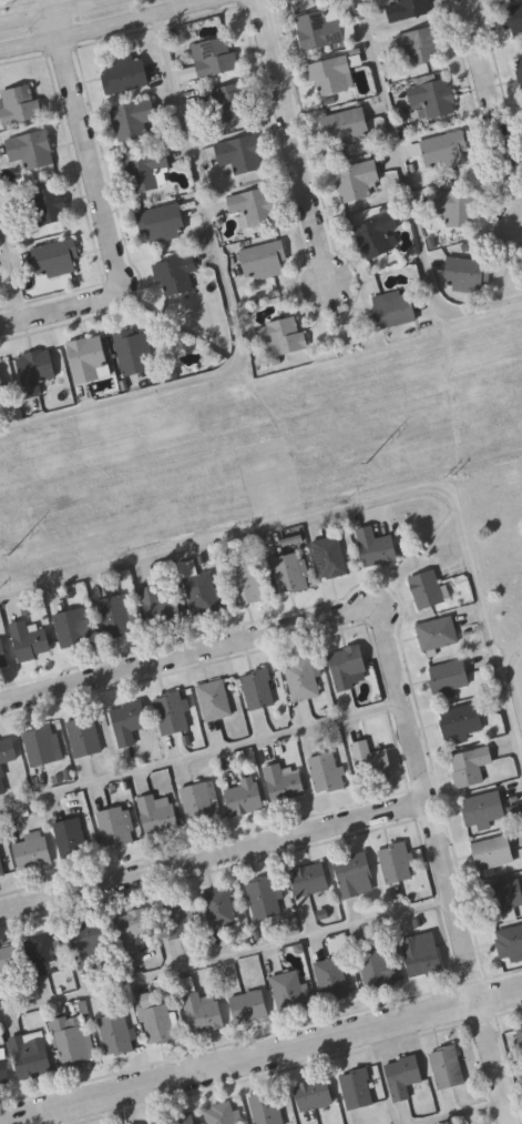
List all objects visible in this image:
building: (407, 9)
road: (49, 11)
building: (512, 17)
road: (113, 28)
building: (323, 28)
building: (420, 45)
building: (216, 55)
building: (520, 68)
building: (124, 72)
building: (331, 75)
building: (432, 98)
building: (229, 102)
building: (20, 104)
road: (494, 108)
building: (132, 119)
building: (346, 126)
road: (295, 143)
building: (31, 149)
building: (240, 153)
building: (146, 171)
building: (356, 180)
road: (410, 193)
building: (49, 205)
building: (456, 205)
building: (253, 206)
road: (102, 212)
building: (162, 222)
building: (377, 234)
building: (55, 257)
building: (264, 259)
road: (13, 270)
building: (468, 273)
building: (176, 274)
building: (393, 307)
road: (233, 310)
building: (282, 336)
building: (134, 352)
building: (89, 358)
building: (35, 369)
building: (1, 391)
road: (359, 505)
park: (499, 510)
building: (377, 545)
building: (330, 555)
building: (291, 569)
building: (247, 581)
building: (428, 587)
building: (162, 602)
building: (115, 615)
building: (74, 625)
building: (438, 631)
building: (30, 638)
building: (3, 652)
road: (187, 656)
building: (347, 664)
road: (520, 671)
building: (303, 677)
building: (449, 677)
building: (258, 687)
building: (215, 697)
building: (172, 711)
building: (130, 719)
building: (462, 719)
building: (84, 733)
building: (43, 743)
road: (201, 745)
building: (7, 756)
building: (371, 759)
building: (471, 764)
building: (327, 770)
building: (285, 781)
building: (245, 794)
building: (198, 801)
building: (483, 809)
building: (157, 813)
building: (115, 824)
building: (71, 834)
building: (33, 849)
building: (493, 850)
road: (215, 858)
building: (397, 861)
building: (1, 865)
road: (448, 869)
building: (355, 873)
building: (311, 878)
building: (504, 893)
building: (267, 894)
building: (219, 905)
building: (176, 918)
building: (133, 928)
building: (510, 939)
building: (91, 941)
road: (227, 948)
building: (42, 952)
building: (422, 952)
building: (10, 963)
building: (377, 965)
building: (332, 976)
building: (289, 989)
building: (249, 1004)
building: (203, 1011)
building: (155, 1019)
building: (116, 1031)
building: (72, 1039)
building: (521, 1043)
building: (31, 1053)
road: (260, 1056)
building: (4, 1066)
building: (448, 1066)
building: (403, 1075)
building: (358, 1088)
building: (314, 1093)
road: (513, 1097)
building: (267, 1107)
road: (443, 1108)
building: (221, 1113)
building: (181, 1118)
road: (412, 1120)

